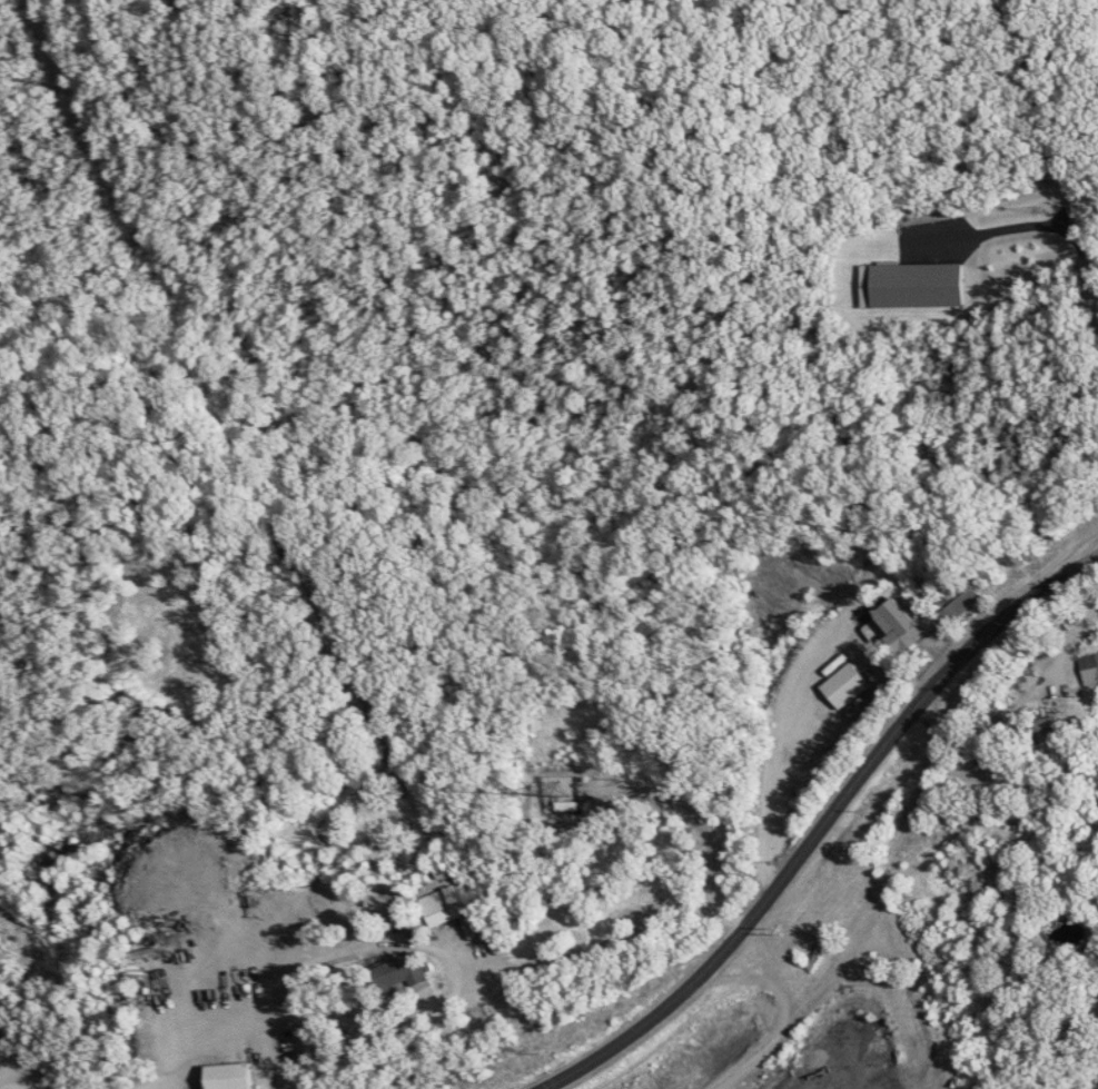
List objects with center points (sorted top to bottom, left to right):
road: (1054, 151)
building: (916, 285)
building: (903, 625)
building: (1092, 667)
building: (845, 684)
building: (1057, 726)
road: (813, 823)
building: (454, 903)
building: (409, 969)
building: (237, 1076)
road: (38, 1085)

